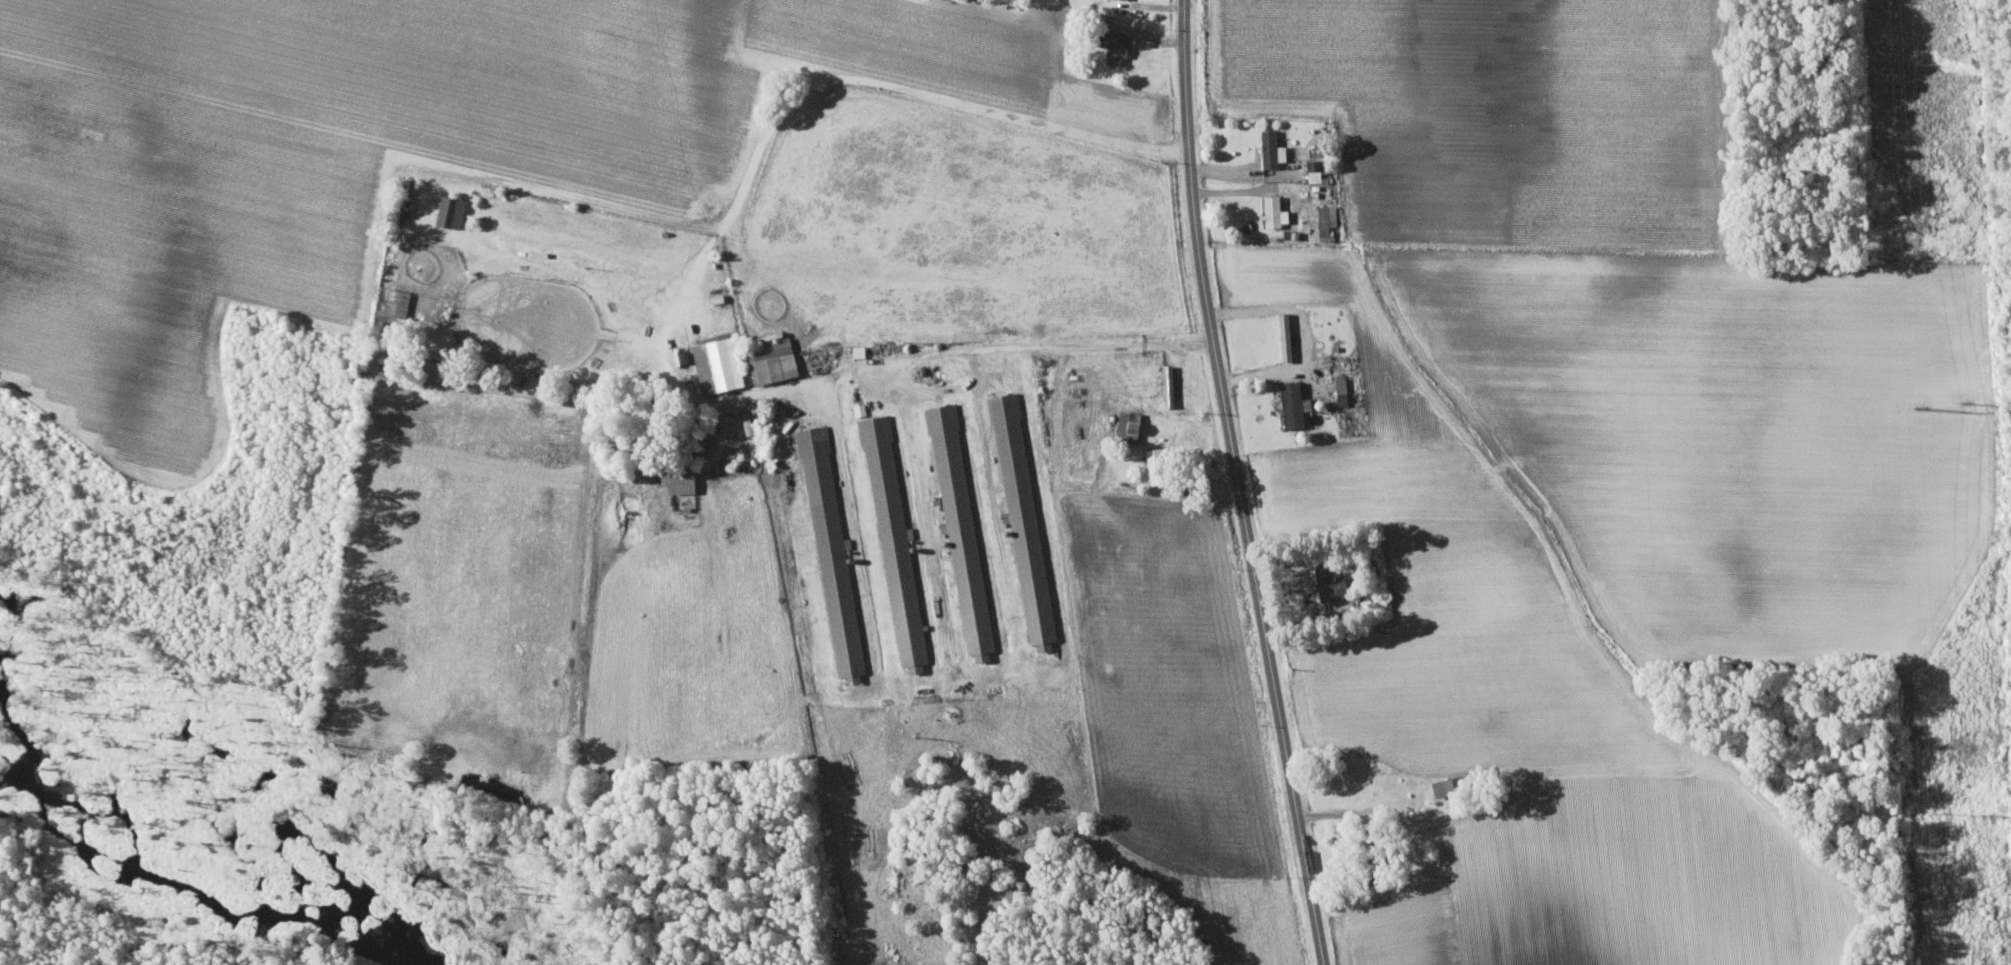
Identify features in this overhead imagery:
building: (1121, 46)
road: (927, 94)
building: (1275, 148)
building: (454, 210)
building: (1275, 210)
building: (1329, 220)
building: (400, 301)
road: (1063, 346)
building: (775, 359)
building: (720, 362)
building: (1343, 384)
power tower: (1966, 401)
building: (1296, 404)
power tower: (1921, 407)
building: (749, 422)
building: (1160, 465)
building: (683, 478)
road: (1236, 484)
building: (1024, 516)
building: (963, 527)
building: (898, 545)
building: (835, 556)
building: (1334, 583)
building: (1452, 785)
power tower: (1942, 812)
power tower: (1986, 815)

